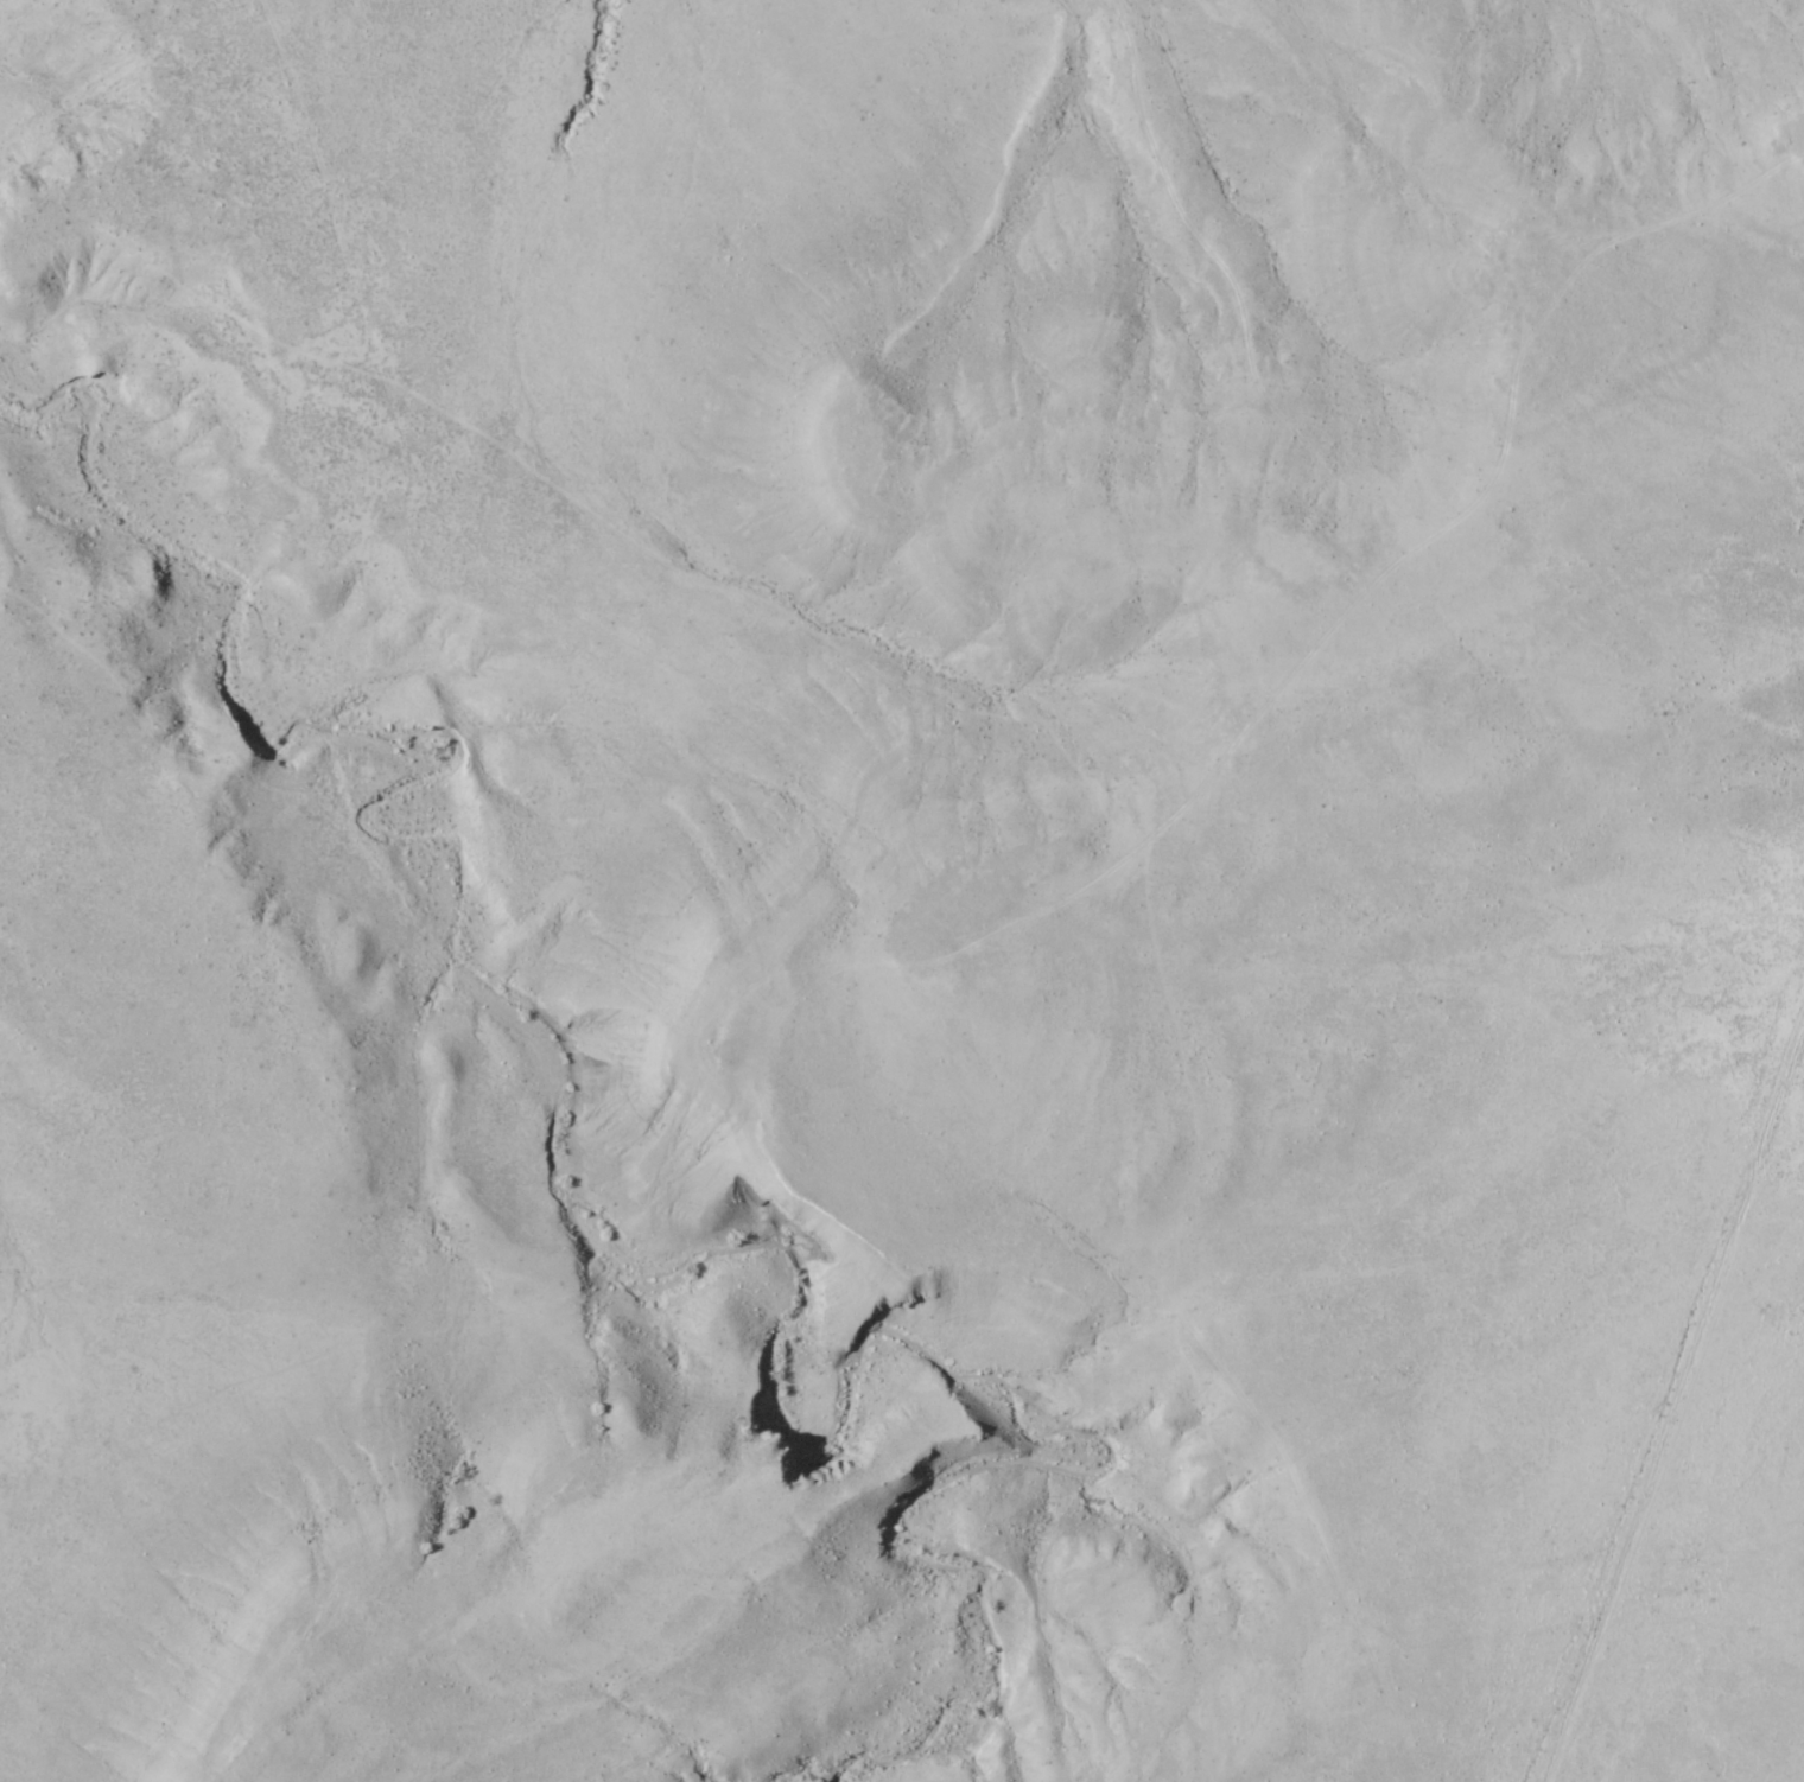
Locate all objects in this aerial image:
road: (1685, 1373)

